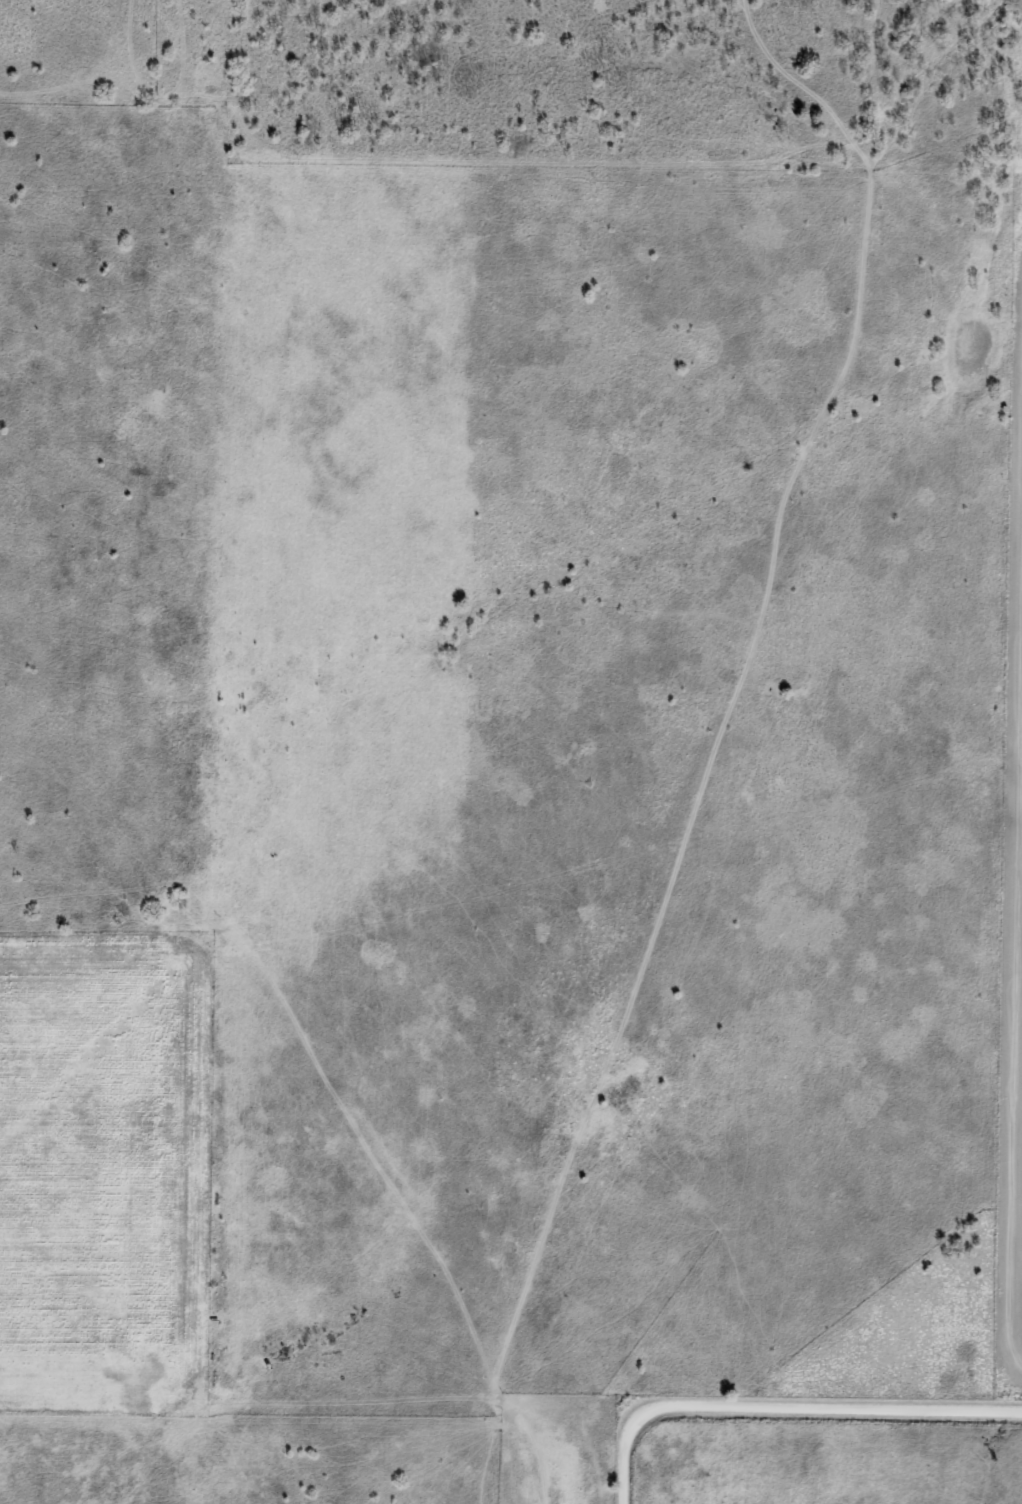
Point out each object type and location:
road: (785, 1405)

